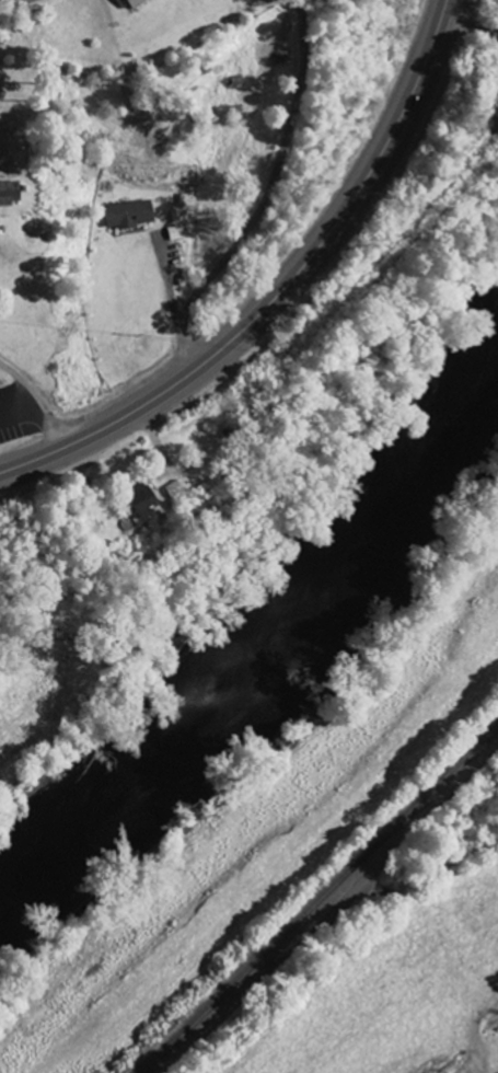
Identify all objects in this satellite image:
building: (129, 2)
road: (471, 35)
road: (381, 67)
building: (8, 193)
road: (267, 195)
building: (129, 214)
road: (496, 263)
road: (283, 291)
road: (38, 399)
building: (173, 488)
building: (140, 499)
river: (265, 636)
railway: (316, 896)
road: (332, 915)

